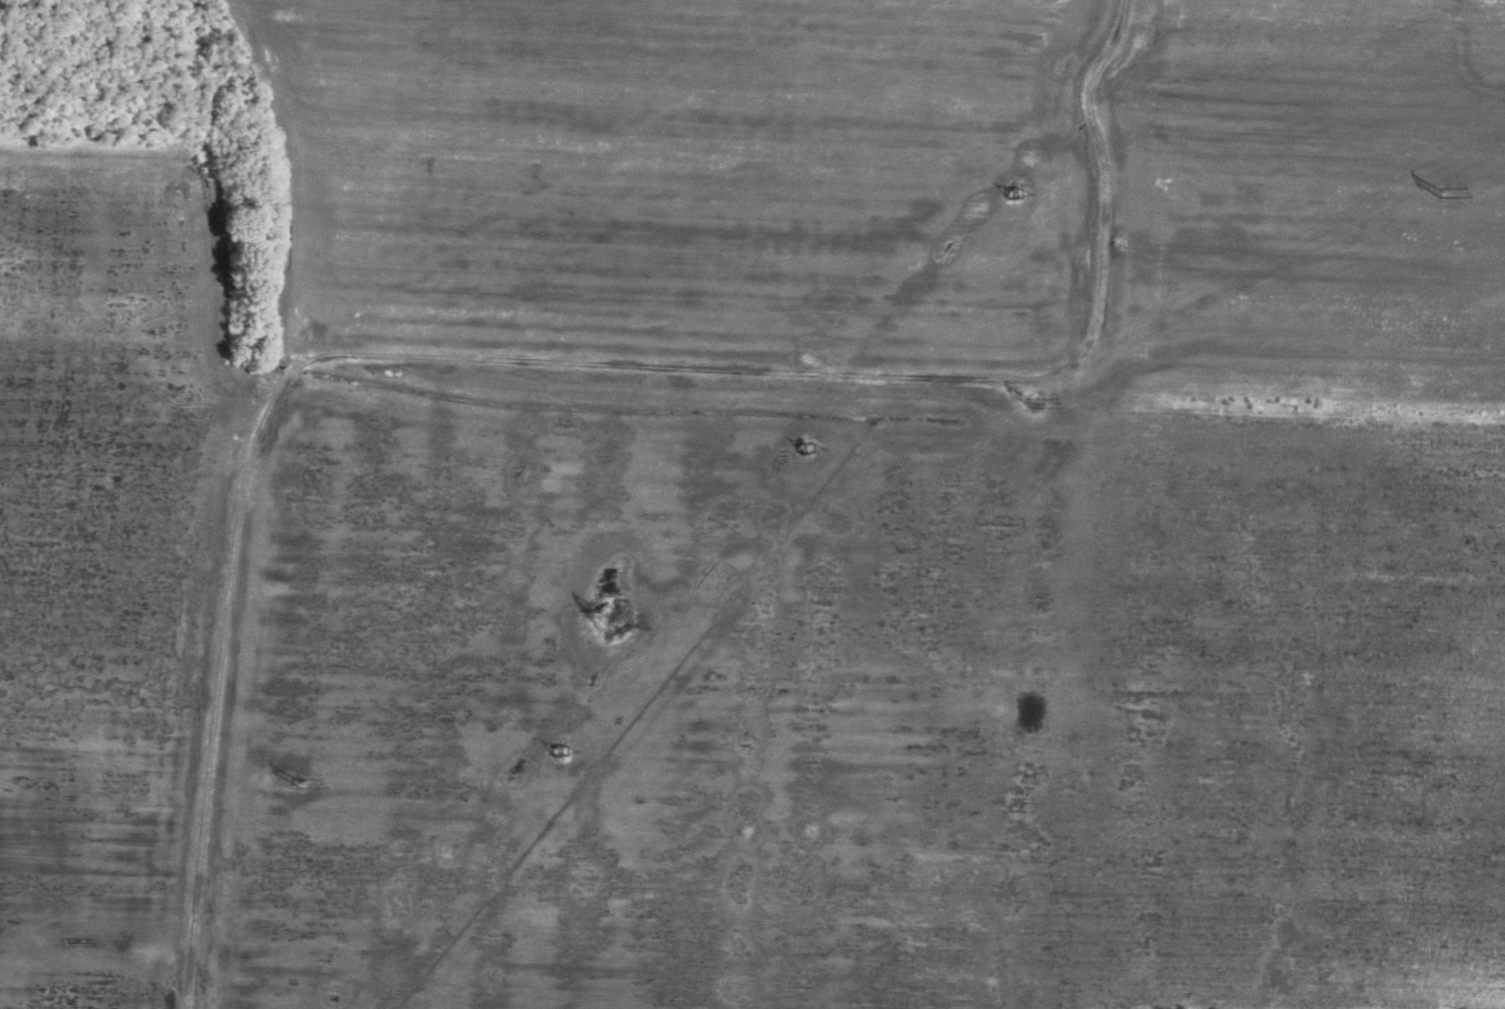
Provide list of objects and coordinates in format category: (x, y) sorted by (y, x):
power tower: (1448, 195)
power tower: (1032, 407)
building: (805, 448)
power tower: (614, 627)
power tower: (300, 792)

